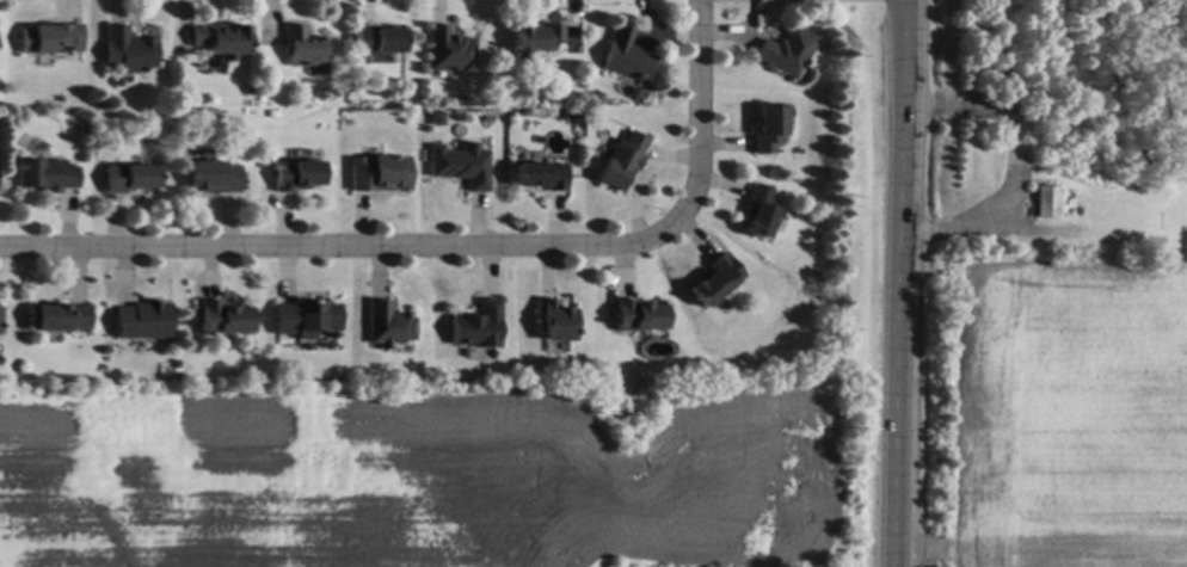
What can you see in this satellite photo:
building: (44, 36)
building: (219, 38)
building: (376, 38)
building: (534, 38)
building: (301, 47)
building: (127, 49)
building: (449, 50)
building: (786, 50)
building: (626, 54)
building: (634, 92)
building: (595, 97)
building: (81, 128)
building: (768, 128)
park: (1054, 130)
building: (620, 159)
building: (465, 165)
building: (377, 172)
building: (45, 173)
building: (295, 174)
building: (539, 174)
building: (213, 175)
building: (128, 177)
road: (1013, 180)
building: (1043, 199)
building: (758, 210)
road: (455, 247)
building: (715, 278)
road: (903, 283)
building: (57, 315)
building: (636, 315)
building: (305, 316)
building: (222, 318)
building: (142, 319)
building: (554, 319)
building: (387, 323)
building: (476, 325)
building: (176, 362)
crop: (1071, 414)
crop: (419, 480)

